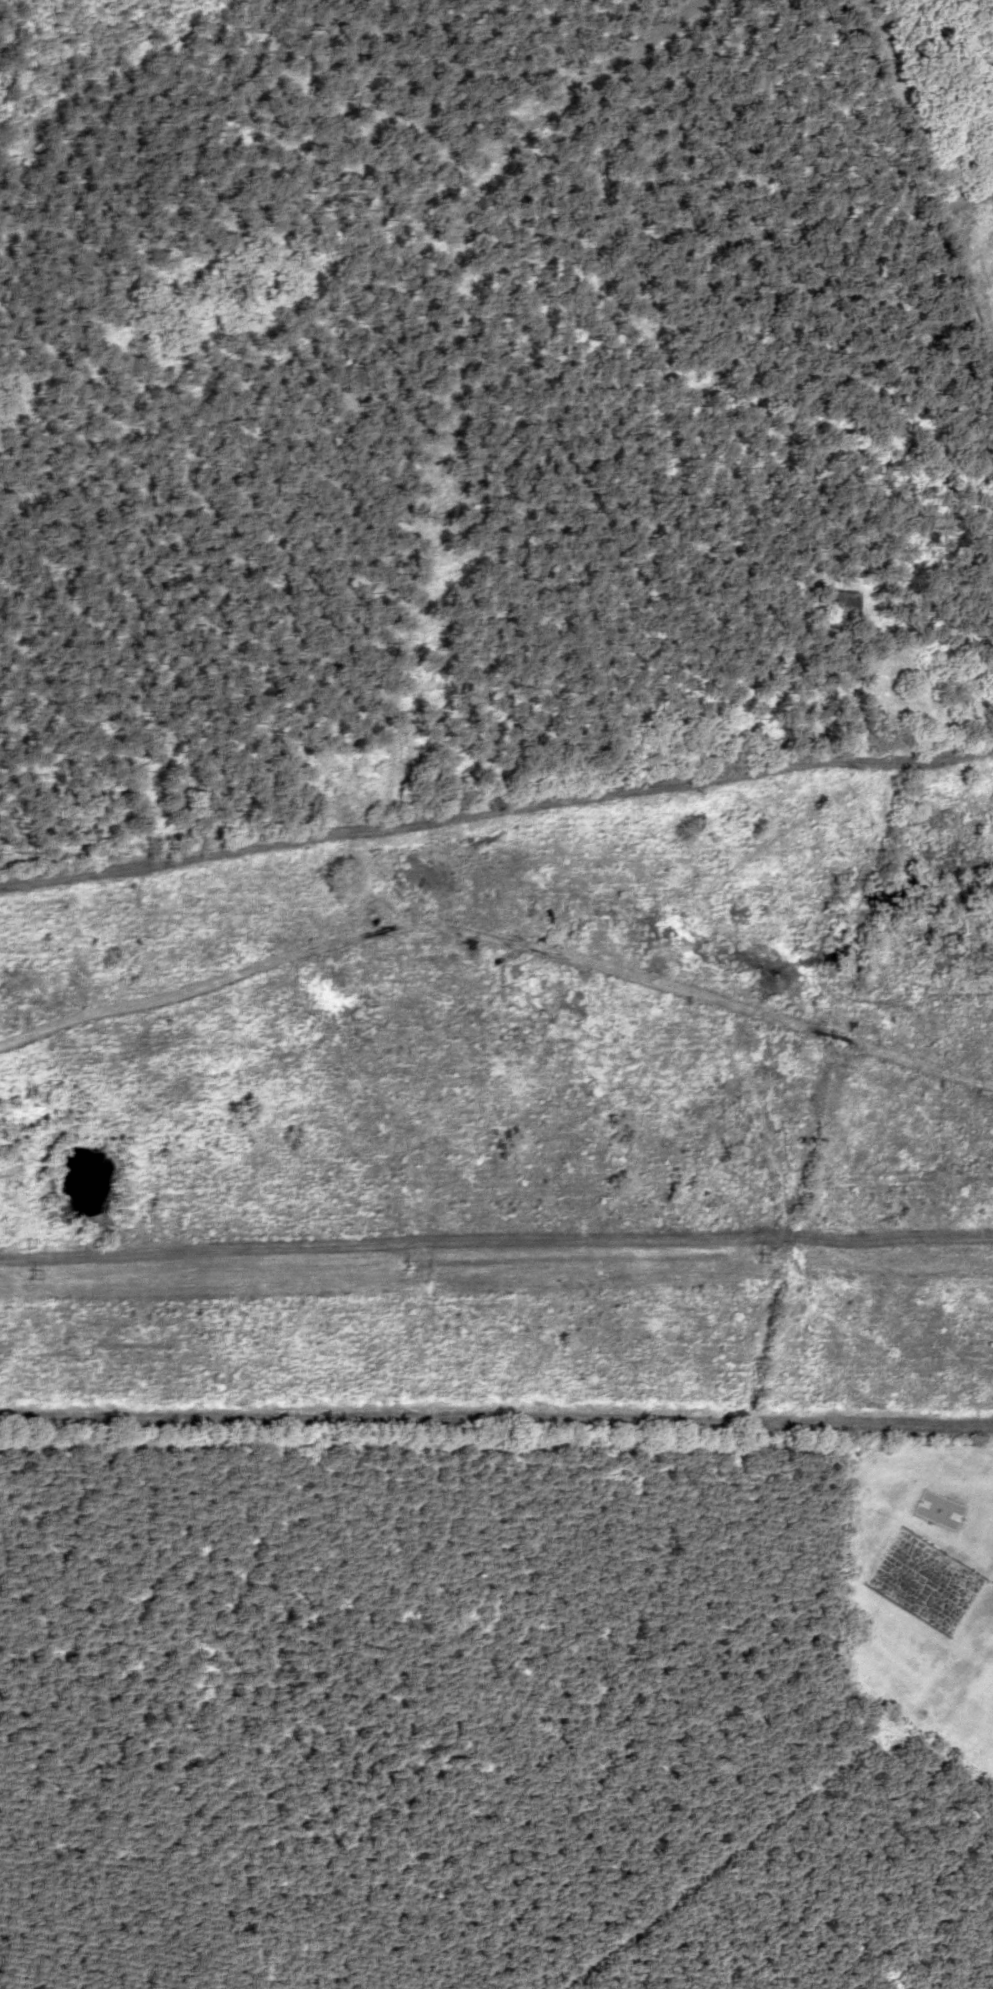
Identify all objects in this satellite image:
building: (839, 603)

